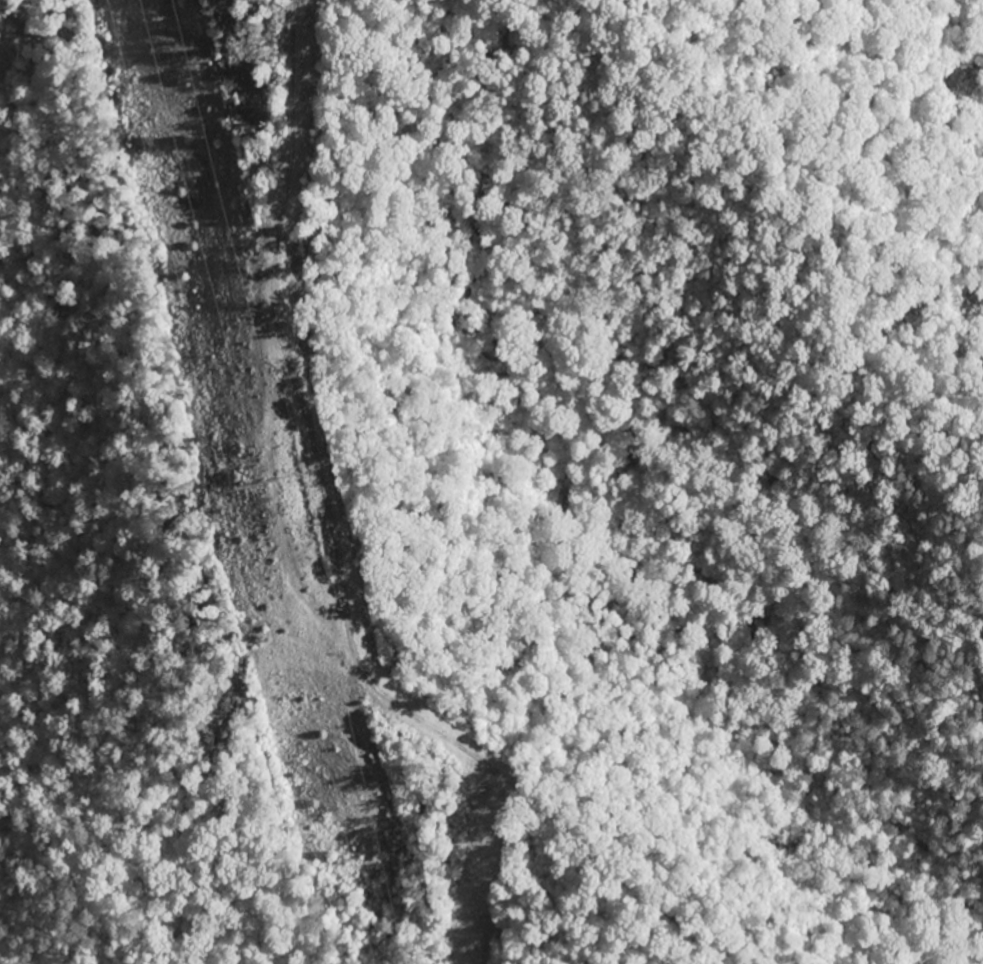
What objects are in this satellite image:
power tower: (265, 505)

